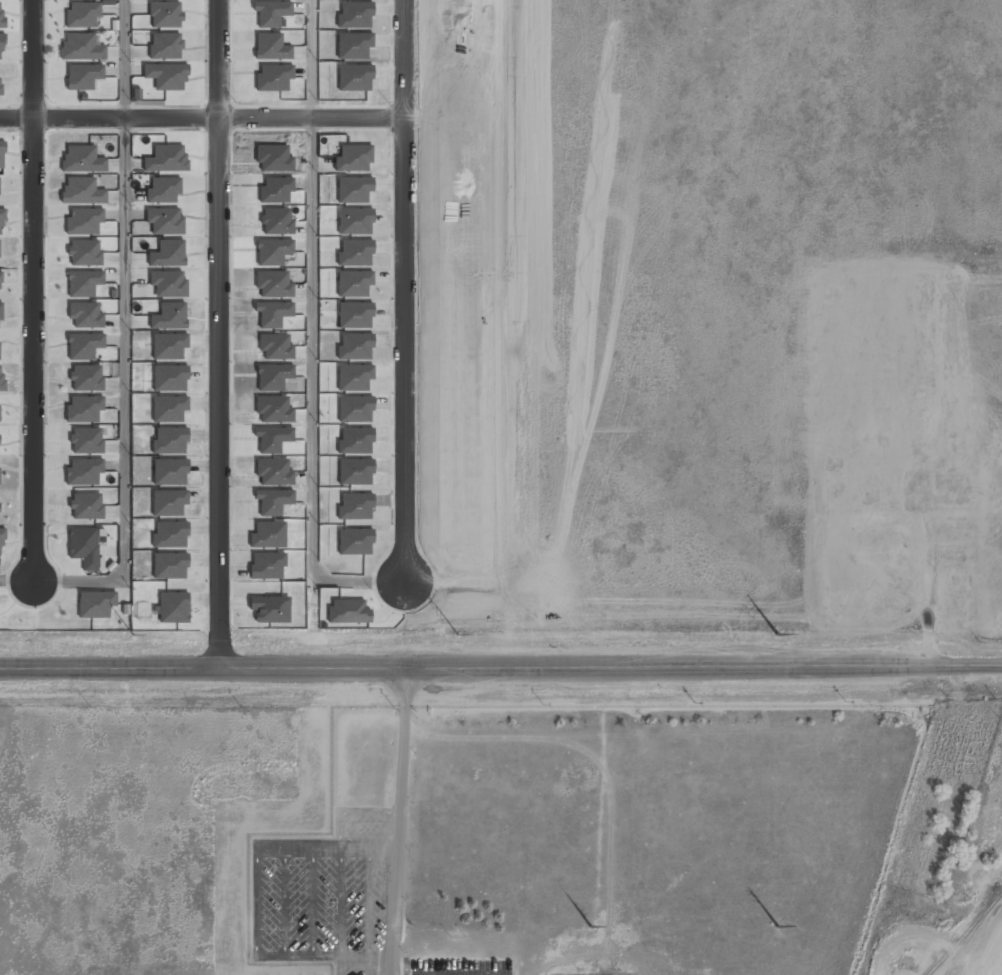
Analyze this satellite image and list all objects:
building: (271, 13)
building: (82, 14)
building: (165, 14)
building: (1, 15)
building: (165, 45)
building: (1, 46)
building: (82, 47)
building: (271, 47)
road: (124, 59)
road: (310, 59)
building: (83, 76)
building: (166, 76)
building: (0, 93)
road: (201, 118)
building: (2, 155)
building: (166, 158)
building: (353, 158)
building: (82, 159)
building: (353, 189)
building: (163, 190)
building: (82, 191)
building: (84, 221)
building: (165, 221)
building: (354, 221)
building: (0, 222)
building: (84, 252)
building: (355, 253)
building: (168, 254)
building: (84, 283)
building: (168, 283)
building: (354, 283)
road: (33, 289)
road: (403, 289)
building: (1, 311)
building: (85, 315)
building: (354, 315)
building: (169, 316)
road: (218, 335)
building: (84, 345)
building: (168, 346)
building: (86, 377)
building: (1, 378)
building: (169, 378)
road: (124, 393)
road: (312, 393)
building: (84, 409)
building: (169, 409)
building: (86, 440)
building: (169, 440)
building: (833, 463)
building: (84, 471)
building: (170, 471)
building: (916, 490)
building: (168, 502)
building: (86, 505)
building: (170, 535)
building: (2, 542)
building: (84, 546)
building: (946, 557)
building: (170, 565)
road: (16, 580)
building: (95, 604)
building: (173, 607)
power tower: (133, 634)
power tower: (457, 634)
power tower: (777, 634)
road: (501, 669)
road: (399, 822)
power tower: (590, 925)
power tower: (778, 927)
railway: (965, 933)
railway: (969, 937)
railway: (936, 963)

